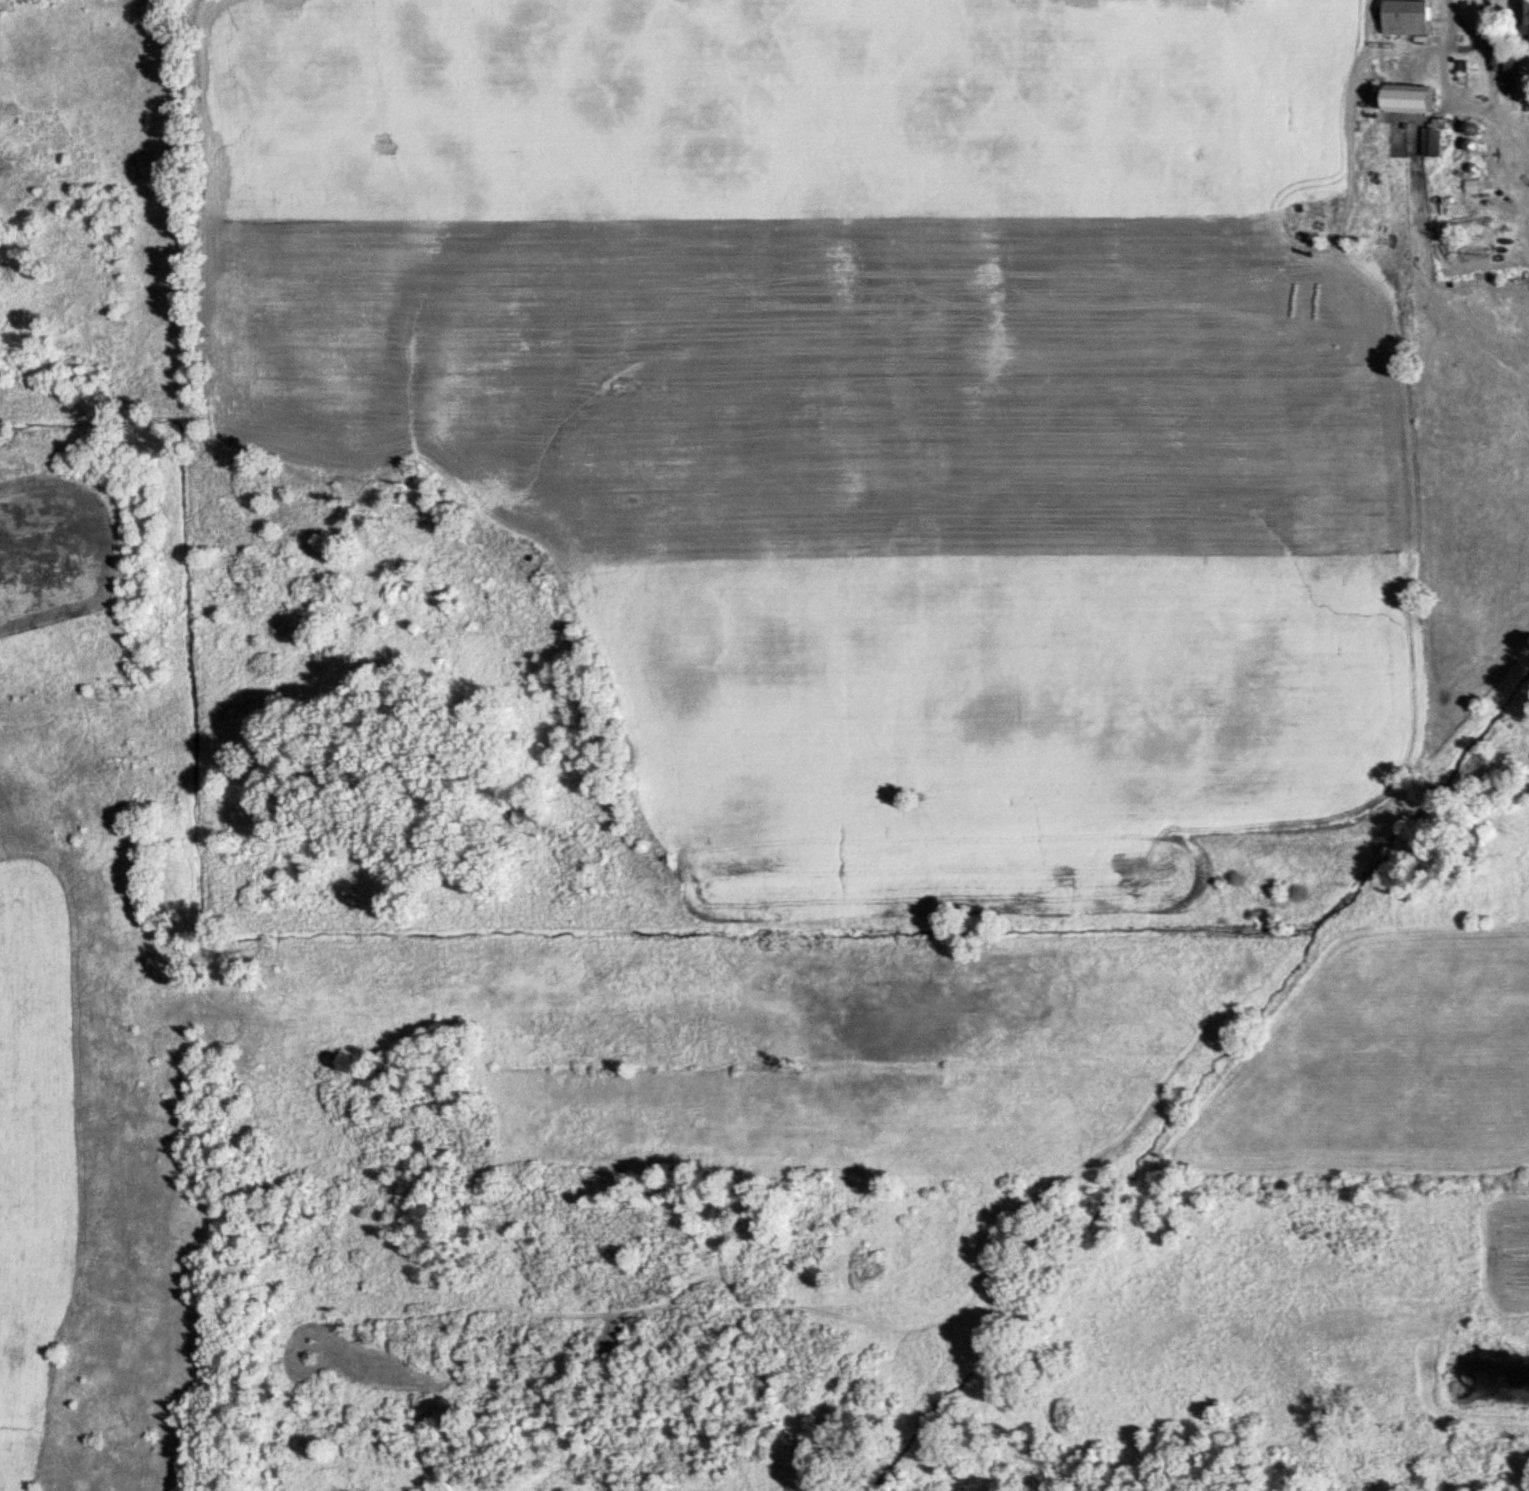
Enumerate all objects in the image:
road: (1450, 10)
building: (1401, 18)
building: (1522, 22)
building: (1509, 72)
building: (1403, 99)
road: (1476, 108)
building: (1430, 139)
building: (1469, 187)

